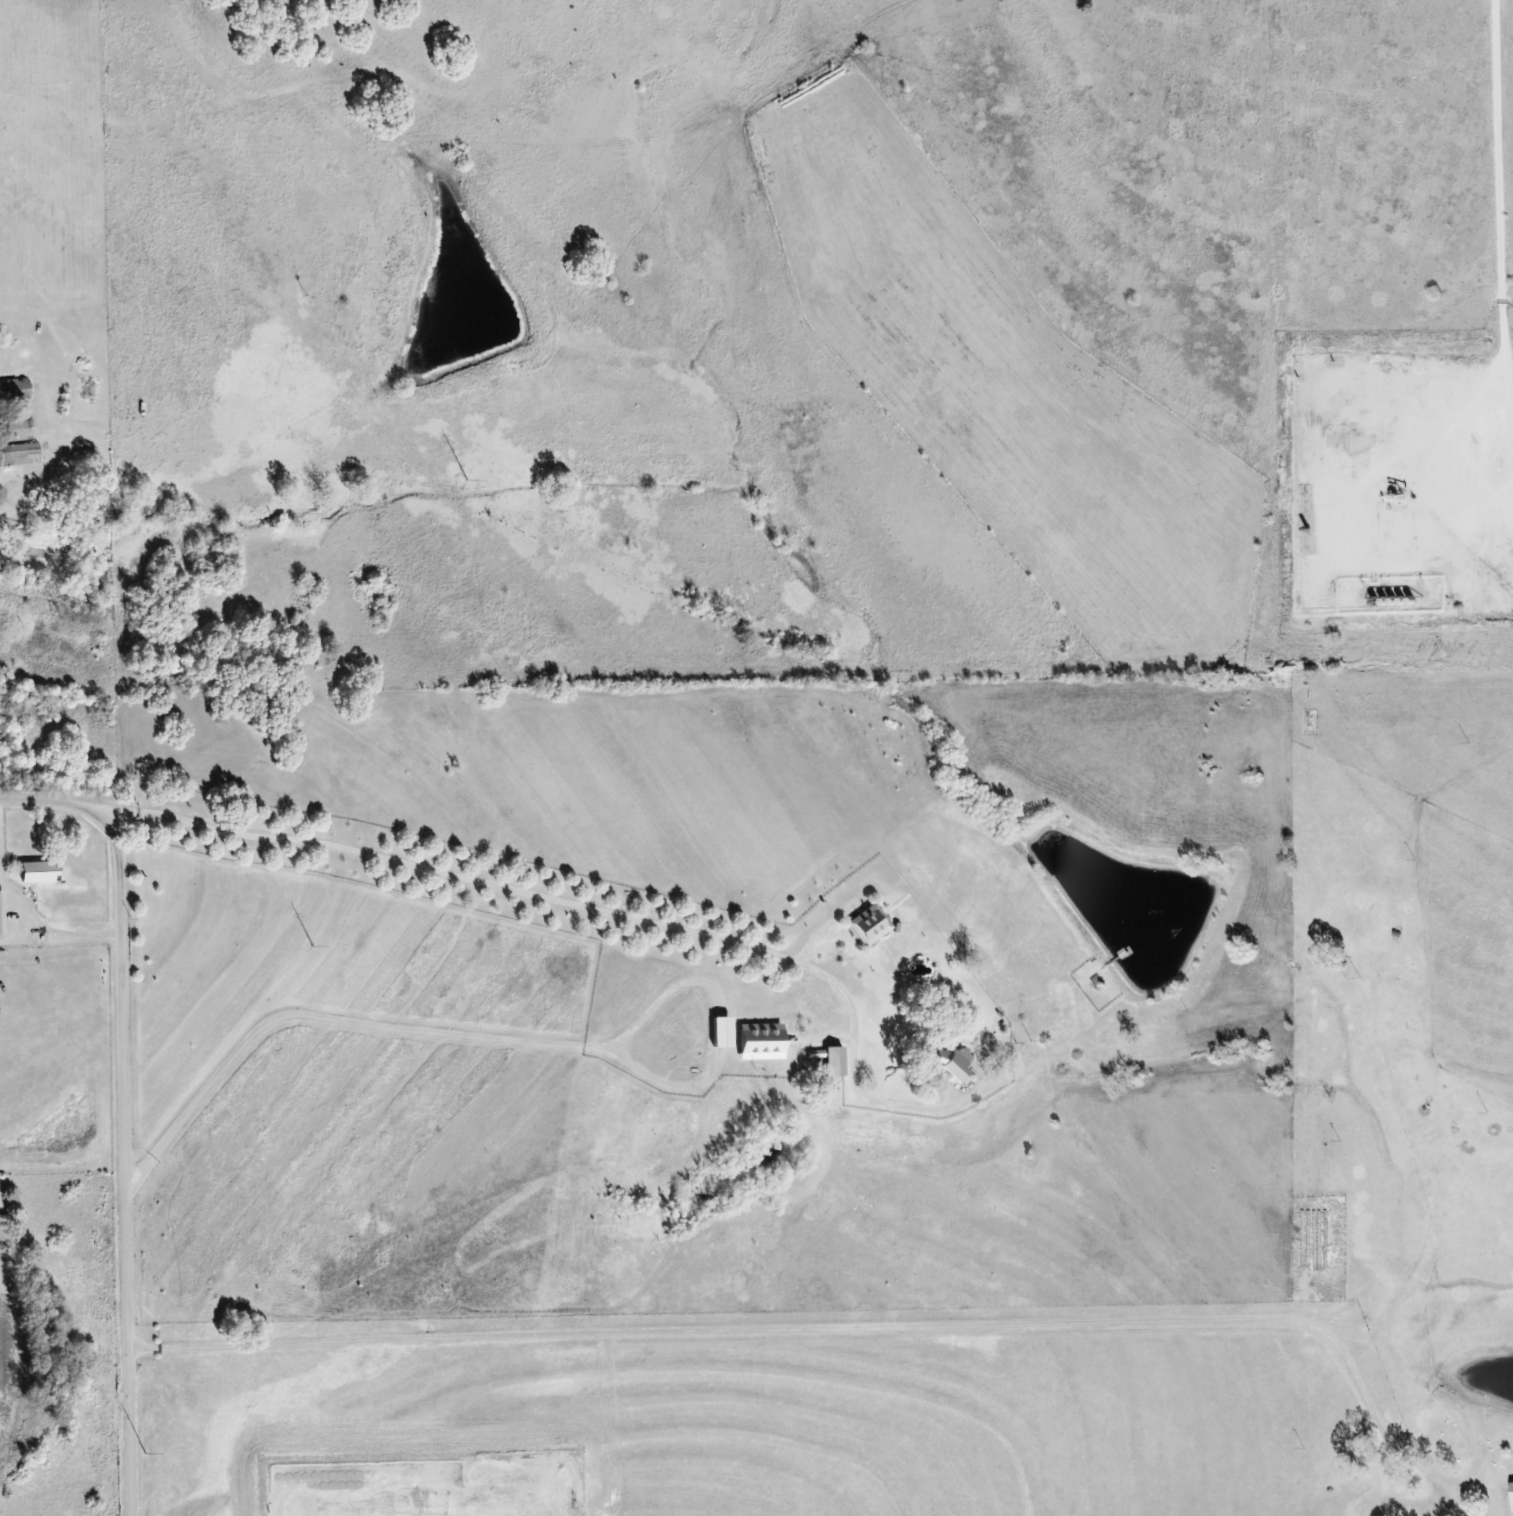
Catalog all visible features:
building: (15, 390)
building: (18, 425)
building: (21, 454)
power tower: (465, 480)
building: (42, 872)
road: (498, 883)
building: (2, 915)
building: (866, 925)
power tower: (312, 947)
building: (716, 1032)
building: (755, 1041)
building: (827, 1060)
building: (946, 1063)
road: (120, 1111)
road: (865, 1325)
power tower: (144, 1454)
building: (1511, 1497)

